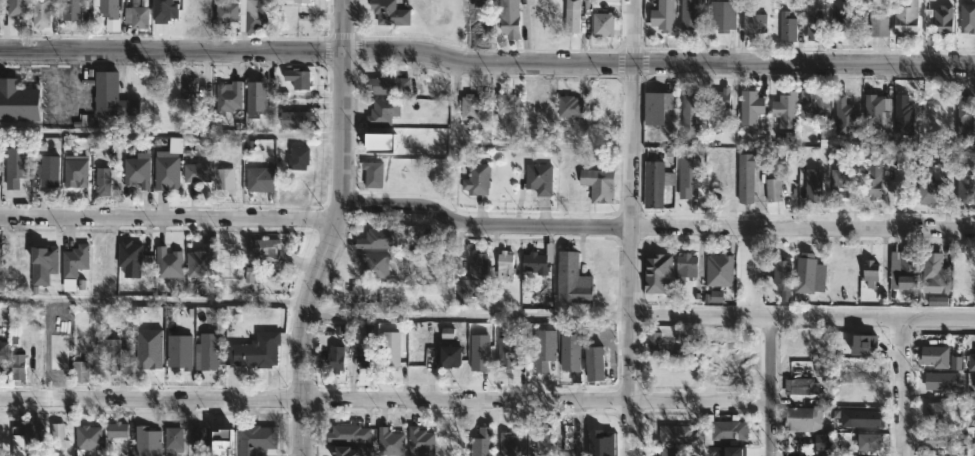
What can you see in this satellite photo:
building: (300, 1)
building: (15, 7)
building: (187, 9)
building: (71, 10)
building: (165, 10)
building: (221, 11)
building: (107, 12)
building: (39, 13)
building: (389, 13)
building: (252, 14)
building: (474, 14)
building: (688, 14)
building: (136, 15)
building: (722, 15)
building: (571, 16)
building: (663, 16)
building: (845, 16)
building: (967, 16)
building: (508, 19)
building: (906, 19)
building: (943, 21)
building: (754, 23)
building: (602, 24)
road: (346, 25)
building: (878, 25)
building: (787, 26)
building: (814, 26)
road: (172, 50)
road: (660, 63)
building: (296, 79)
building: (186, 85)
building: (388, 86)
building: (110, 96)
building: (227, 96)
building: (255, 98)
building: (18, 101)
building: (814, 102)
building: (508, 103)
building: (720, 104)
building: (469, 106)
building: (569, 106)
building: (657, 106)
building: (750, 106)
building: (785, 108)
building: (964, 110)
building: (380, 112)
building: (877, 112)
building: (689, 115)
building: (900, 116)
building: (842, 117)
building: (295, 118)
road: (172, 134)
building: (381, 142)
building: (297, 158)
building: (903, 161)
building: (12, 165)
building: (0, 167)
building: (137, 170)
building: (44, 171)
building: (74, 172)
building: (165, 172)
building: (195, 172)
building: (372, 174)
building: (688, 176)
building: (747, 176)
building: (539, 178)
building: (716, 178)
building: (259, 179)
building: (476, 179)
building: (872, 179)
building: (101, 180)
building: (223, 182)
building: (652, 183)
building: (838, 183)
building: (598, 184)
building: (813, 184)
building: (965, 185)
building: (17, 189)
building: (774, 190)
building: (929, 190)
road: (170, 217)
road: (631, 227)
road: (656, 227)
building: (372, 239)
building: (22, 247)
building: (262, 249)
road: (326, 253)
building: (128, 258)
building: (73, 260)
building: (537, 260)
building: (199, 262)
building: (222, 262)
building: (167, 263)
building: (42, 264)
building: (373, 264)
building: (505, 266)
building: (685, 267)
building: (719, 270)
building: (657, 272)
building: (870, 272)
building: (782, 273)
building: (904, 273)
building: (810, 274)
building: (935, 274)
building: (571, 278)
building: (472, 280)
building: (361, 294)
building: (715, 296)
road: (155, 300)
building: (938, 301)
road: (802, 318)
building: (868, 342)
building: (654, 343)
building: (147, 347)
building: (543, 348)
building: (392, 350)
building: (255, 351)
building: (478, 351)
building: (211, 352)
building: (569, 352)
building: (181, 353)
building: (504, 353)
building: (110, 354)
building: (3, 355)
building: (53, 355)
building: (448, 357)
building: (934, 357)
building: (335, 359)
building: (955, 362)
building: (971, 362)
building: (594, 363)
building: (16, 366)
building: (867, 367)
building: (78, 371)
building: (942, 382)
road: (773, 386)
building: (801, 386)
road: (905, 387)
building: (868, 393)
road: (315, 400)
road: (702, 400)
building: (934, 412)
building: (865, 418)
building: (802, 419)
building: (729, 430)
building: (117, 431)
building: (674, 434)
building: (56, 435)
building: (351, 435)
building: (29, 436)
building: (565, 436)
building: (86, 437)
building: (173, 437)
building: (197, 438)
building: (255, 439)
building: (391, 439)
building: (543, 439)
building: (932, 439)
building: (823, 441)
building: (869, 441)
building: (146, 442)
building: (224, 442)
building: (420, 443)
building: (513, 443)
building: (481, 444)
building: (595, 445)
building: (726, 451)
building: (348, 452)
building: (668, 452)
building: (566, 453)

